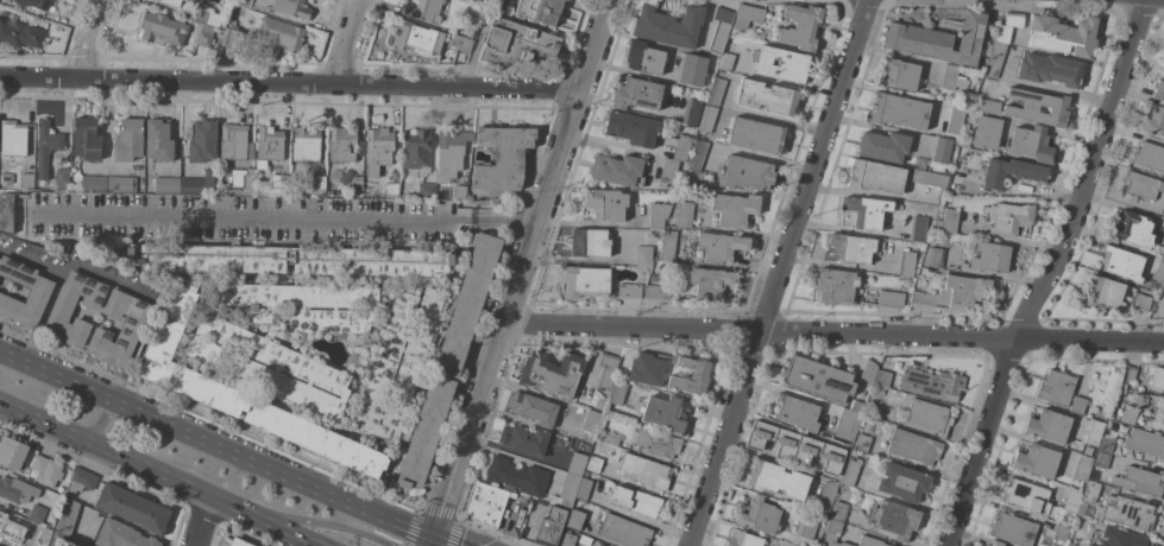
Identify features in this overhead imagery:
building: (52, 0)
building: (472, 0)
building: (480, 1)
building: (170, 2)
building: (241, 2)
building: (36, 4)
building: (497, 4)
building: (291, 7)
building: (426, 11)
building: (539, 11)
building: (747, 15)
building: (206, 17)
building: (668, 26)
building: (801, 26)
building: (1009, 26)
building: (721, 27)
building: (161, 30)
building: (464, 31)
building: (19, 33)
building: (1063, 36)
building: (205, 37)
building: (229, 37)
building: (277, 37)
building: (416, 38)
building: (938, 39)
road: (92, 40)
road: (348, 43)
building: (460, 43)
building: (517, 43)
building: (644, 57)
building: (995, 59)
building: (726, 62)
building: (782, 64)
building: (692, 69)
building: (1163, 69)
building: (1050, 70)
building: (900, 74)
building: (952, 78)
road: (291, 84)
building: (1159, 90)
building: (716, 91)
building: (636, 94)
building: (767, 96)
building: (986, 106)
building: (1036, 107)
building: (899, 110)
building: (691, 113)
building: (707, 119)
building: (955, 119)
building: (1154, 122)
building: (631, 128)
building: (986, 133)
building: (756, 135)
building: (12, 139)
building: (86, 139)
building: (128, 139)
building: (158, 140)
building: (202, 141)
building: (234, 142)
building: (963, 142)
building: (1031, 144)
building: (268, 145)
building: (306, 145)
building: (341, 145)
building: (378, 145)
building: (883, 146)
building: (46, 147)
building: (681, 147)
building: (416, 150)
building: (942, 150)
building: (451, 152)
building: (697, 157)
building: (1149, 157)
building: (502, 158)
building: (617, 170)
building: (668, 172)
building: (1011, 172)
building: (747, 173)
building: (874, 176)
building: (6, 178)
building: (62, 178)
building: (929, 178)
building: (956, 178)
building: (26, 180)
building: (241, 180)
building: (93, 183)
building: (357, 183)
building: (121, 184)
building: (199, 184)
building: (166, 185)
building: (317, 185)
building: (1141, 185)
building: (275, 186)
building: (390, 190)
building: (427, 190)
building: (231, 191)
building: (301, 191)
building: (459, 192)
building: (605, 204)
building: (735, 209)
building: (1163, 210)
building: (866, 211)
building: (685, 214)
road: (245, 215)
building: (657, 215)
building: (234, 217)
parking garage: (234, 217)
road: (498, 218)
building: (1007, 218)
building: (949, 221)
building: (918, 229)
building: (1132, 229)
building: (590, 242)
building: (667, 246)
building: (722, 246)
building: (850, 248)
building: (643, 256)
building: (933, 256)
building: (989, 258)
building: (290, 260)
building: (1120, 261)
building: (906, 264)
road: (78, 267)
road: (780, 272)
building: (1159, 272)
road: (524, 273)
road: (1050, 273)
building: (584, 280)
building: (697, 286)
building: (835, 286)
building: (1163, 290)
building: (39, 291)
building: (629, 291)
building: (1105, 293)
building: (955, 294)
building: (888, 299)
building: (1135, 300)
building: (303, 306)
building: (62, 307)
road: (40, 318)
building: (130, 330)
road: (836, 334)
road: (134, 353)
building: (449, 360)
building: (397, 363)
building: (269, 366)
building: (606, 368)
building: (647, 368)
building: (1116, 368)
building: (868, 372)
building: (552, 373)
building: (691, 375)
building: (1126, 377)
building: (817, 379)
building: (882, 379)
building: (1158, 380)
building: (931, 382)
building: (1056, 387)
building: (879, 391)
building: (617, 393)
building: (243, 394)
building: (1077, 404)
building: (856, 406)
building: (534, 408)
building: (797, 412)
building: (1159, 412)
building: (665, 414)
building: (1128, 415)
building: (929, 417)
building: (591, 421)
building: (847, 424)
road: (100, 425)
building: (864, 426)
building: (1049, 426)
building: (1121, 430)
building: (1094, 432)
building: (523, 439)
building: (611, 439)
building: (657, 443)
building: (862, 443)
building: (1145, 443)
building: (1106, 445)
building: (795, 446)
building: (913, 446)
road: (225, 450)
building: (12, 453)
building: (1101, 459)
building: (1037, 461)
building: (577, 463)
building: (593, 464)
building: (1082, 468)
building: (45, 470)
building: (644, 470)
building: (850, 472)
road: (159, 475)
building: (516, 476)
building: (81, 480)
building: (778, 480)
building: (1139, 481)
building: (902, 483)
building: (584, 489)
building: (15, 490)
building: (566, 490)
building: (1088, 496)
building: (826, 497)
building: (1027, 497)
building: (1072, 501)
building: (637, 502)
building: (486, 503)
building: (132, 508)
building: (839, 508)
building: (1126, 512)
building: (37, 513)
building: (68, 516)
building: (759, 516)
building: (574, 519)
building: (894, 519)
road: (205, 522)
building: (7, 525)
road: (316, 525)
building: (550, 526)
building: (1014, 529)
building: (624, 531)
building: (806, 531)
building: (1058, 533)
building: (832, 534)
building: (121, 535)
building: (1120, 538)
building: (567, 539)
building: (744, 539)
traffic signals: (435, 540)
building: (869, 541)
building: (67, 542)
building: (239, 542)
road: (433, 542)
building: (995, 544)
building: (34, 545)
building: (599, 545)
building: (600, 545)

